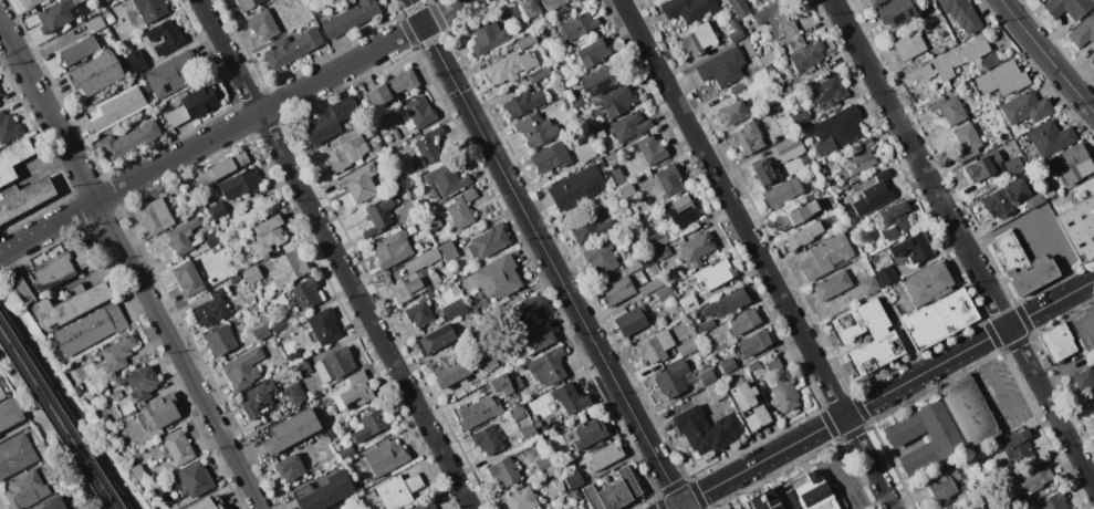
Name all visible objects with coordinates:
building: (103, 0)
building: (105, 0)
building: (572, 1)
building: (32, 2)
building: (876, 2)
building: (248, 3)
building: (552, 3)
building: (530, 8)
building: (740, 8)
building: (1069, 8)
building: (150, 9)
building: (688, 9)
building: (897, 12)
building: (512, 14)
building: (961, 14)
building: (55, 15)
building: (352, 17)
building: (110, 19)
building: (96, 23)
building: (780, 23)
building: (262, 24)
building: (579, 27)
building: (734, 30)
building: (543, 32)
building: (1082, 32)
building: (166, 37)
building: (488, 37)
building: (699, 39)
building: (525, 41)
building: (952, 42)
building: (909, 46)
building: (292, 48)
building: (79, 52)
building: (593, 53)
road: (1046, 55)
building: (806, 56)
building: (959, 56)
building: (767, 59)
building: (991, 61)
building: (136, 62)
building: (1093, 64)
building: (510, 66)
building: (722, 67)
building: (769, 67)
building: (925, 72)
building: (539, 74)
building: (94, 75)
building: (171, 75)
building: (601, 79)
building: (1003, 79)
building: (392, 87)
building: (736, 87)
building: (784, 90)
building: (827, 90)
building: (0, 93)
building: (565, 100)
building: (0, 101)
building: (617, 101)
building: (524, 102)
building: (579, 102)
building: (192, 106)
building: (1027, 107)
building: (114, 108)
building: (948, 108)
building: (416, 113)
building: (733, 113)
building: (981, 117)
building: (802, 118)
building: (331, 120)
building: (631, 125)
building: (8, 126)
road: (232, 126)
building: (536, 129)
building: (836, 131)
building: (396, 133)
building: (388, 137)
building: (747, 137)
building: (1050, 138)
building: (129, 141)
building: (866, 143)
building: (966, 143)
building: (376, 145)
building: (429, 145)
building: (789, 148)
building: (649, 149)
building: (344, 152)
building: (587, 153)
building: (601, 153)
building: (550, 157)
building: (1074, 157)
building: (13, 158)
building: (597, 160)
building: (859, 162)
building: (983, 165)
building: (1013, 166)
building: (222, 168)
building: (824, 169)
building: (763, 170)
building: (882, 174)
building: (617, 175)
building: (643, 176)
building: (446, 179)
building: (669, 180)
building: (358, 183)
building: (240, 184)
building: (576, 187)
building: (821, 187)
building: (834, 188)
building: (626, 190)
building: (1049, 190)
building: (781, 193)
building: (191, 195)
building: (844, 195)
building: (873, 196)
building: (24, 197)
building: (1004, 199)
building: (826, 200)
building: (1033, 200)
building: (461, 209)
building: (683, 209)
building: (218, 210)
building: (635, 212)
building: (800, 212)
building: (156, 214)
building: (378, 216)
building: (896, 220)
building: (435, 225)
building: (588, 228)
building: (1079, 228)
building: (829, 232)
building: (805, 233)
building: (268, 235)
building: (181, 236)
building: (211, 238)
building: (658, 239)
building: (488, 241)
road: (962, 242)
building: (426, 246)
building: (696, 248)
building: (913, 248)
building: (392, 249)
building: (448, 251)
building: (1009, 251)
building: (661, 252)
road: (1054, 252)
road: (334, 253)
road: (545, 253)
road: (758, 253)
building: (429, 256)
building: (827, 257)
building: (601, 258)
building: (646, 260)
road: (131, 266)
building: (291, 266)
building: (62, 267)
building: (654, 268)
building: (252, 274)
building: (715, 274)
building: (886, 276)
building: (1031, 276)
building: (498, 277)
building: (187, 279)
building: (235, 279)
building: (928, 283)
building: (450, 284)
building: (832, 284)
building: (653, 285)
building: (868, 285)
building: (409, 288)
building: (20, 289)
building: (455, 291)
building: (617, 291)
building: (305, 293)
building: (429, 293)
building: (664, 293)
road: (1088, 295)
building: (730, 301)
building: (688, 302)
building: (70, 304)
building: (210, 307)
building: (454, 308)
building: (524, 312)
building: (419, 313)
building: (938, 319)
building: (629, 321)
building: (743, 321)
building: (323, 325)
building: (707, 325)
road: (1084, 325)
building: (91, 329)
building: (261, 332)
building: (884, 337)
building: (535, 339)
building: (220, 340)
building: (436, 340)
building: (1056, 342)
building: (752, 343)
building: (655, 346)
building: (687, 349)
building: (117, 353)
building: (773, 364)
building: (335, 365)
building: (492, 365)
building: (728, 365)
building: (753, 365)
building: (548, 366)
building: (303, 367)
building: (242, 368)
building: (451, 371)
building: (100, 372)
building: (707, 377)
building: (671, 378)
road: (991, 378)
building: (1084, 381)
building: (142, 383)
building: (518, 383)
building: (500, 384)
building: (77, 391)
building: (716, 391)
building: (354, 392)
building: (294, 393)
building: (1, 394)
road: (883, 394)
building: (116, 395)
building: (784, 395)
building: (258, 398)
building: (570, 398)
building: (750, 406)
road: (67, 407)
building: (160, 411)
building: (967, 411)
building: (518, 412)
building: (1092, 412)
building: (9, 413)
building: (475, 414)
railway: (59, 415)
park: (62, 415)
building: (105, 418)
building: (534, 418)
building: (325, 420)
road: (53, 424)
railway: (54, 424)
building: (536, 424)
building: (371, 425)
building: (546, 427)
building: (707, 429)
building: (290, 430)
building: (331, 432)
building: (528, 433)
building: (588, 435)
building: (900, 435)
building: (488, 439)
building: (1017, 445)
building: (179, 447)
building: (347, 451)
building: (15, 455)
building: (605, 456)
building: (385, 457)
building: (545, 465)
building: (290, 467)
building: (504, 470)
building: (137, 471)
road: (858, 478)
building: (574, 479)
building: (1031, 479)
building: (194, 480)
building: (561, 487)
building: (941, 487)
building: (963, 488)
building: (23, 489)
building: (398, 490)
building: (323, 491)
building: (614, 491)
building: (796, 496)
building: (521, 499)
building: (1052, 501)
building: (54, 502)
building: (205, 505)
traffic signals: (680, 505)
building: (425, 506)
building: (571, 506)
building: (71, 508)
building: (337, 508)
building: (737, 508)
building: (739, 508)

